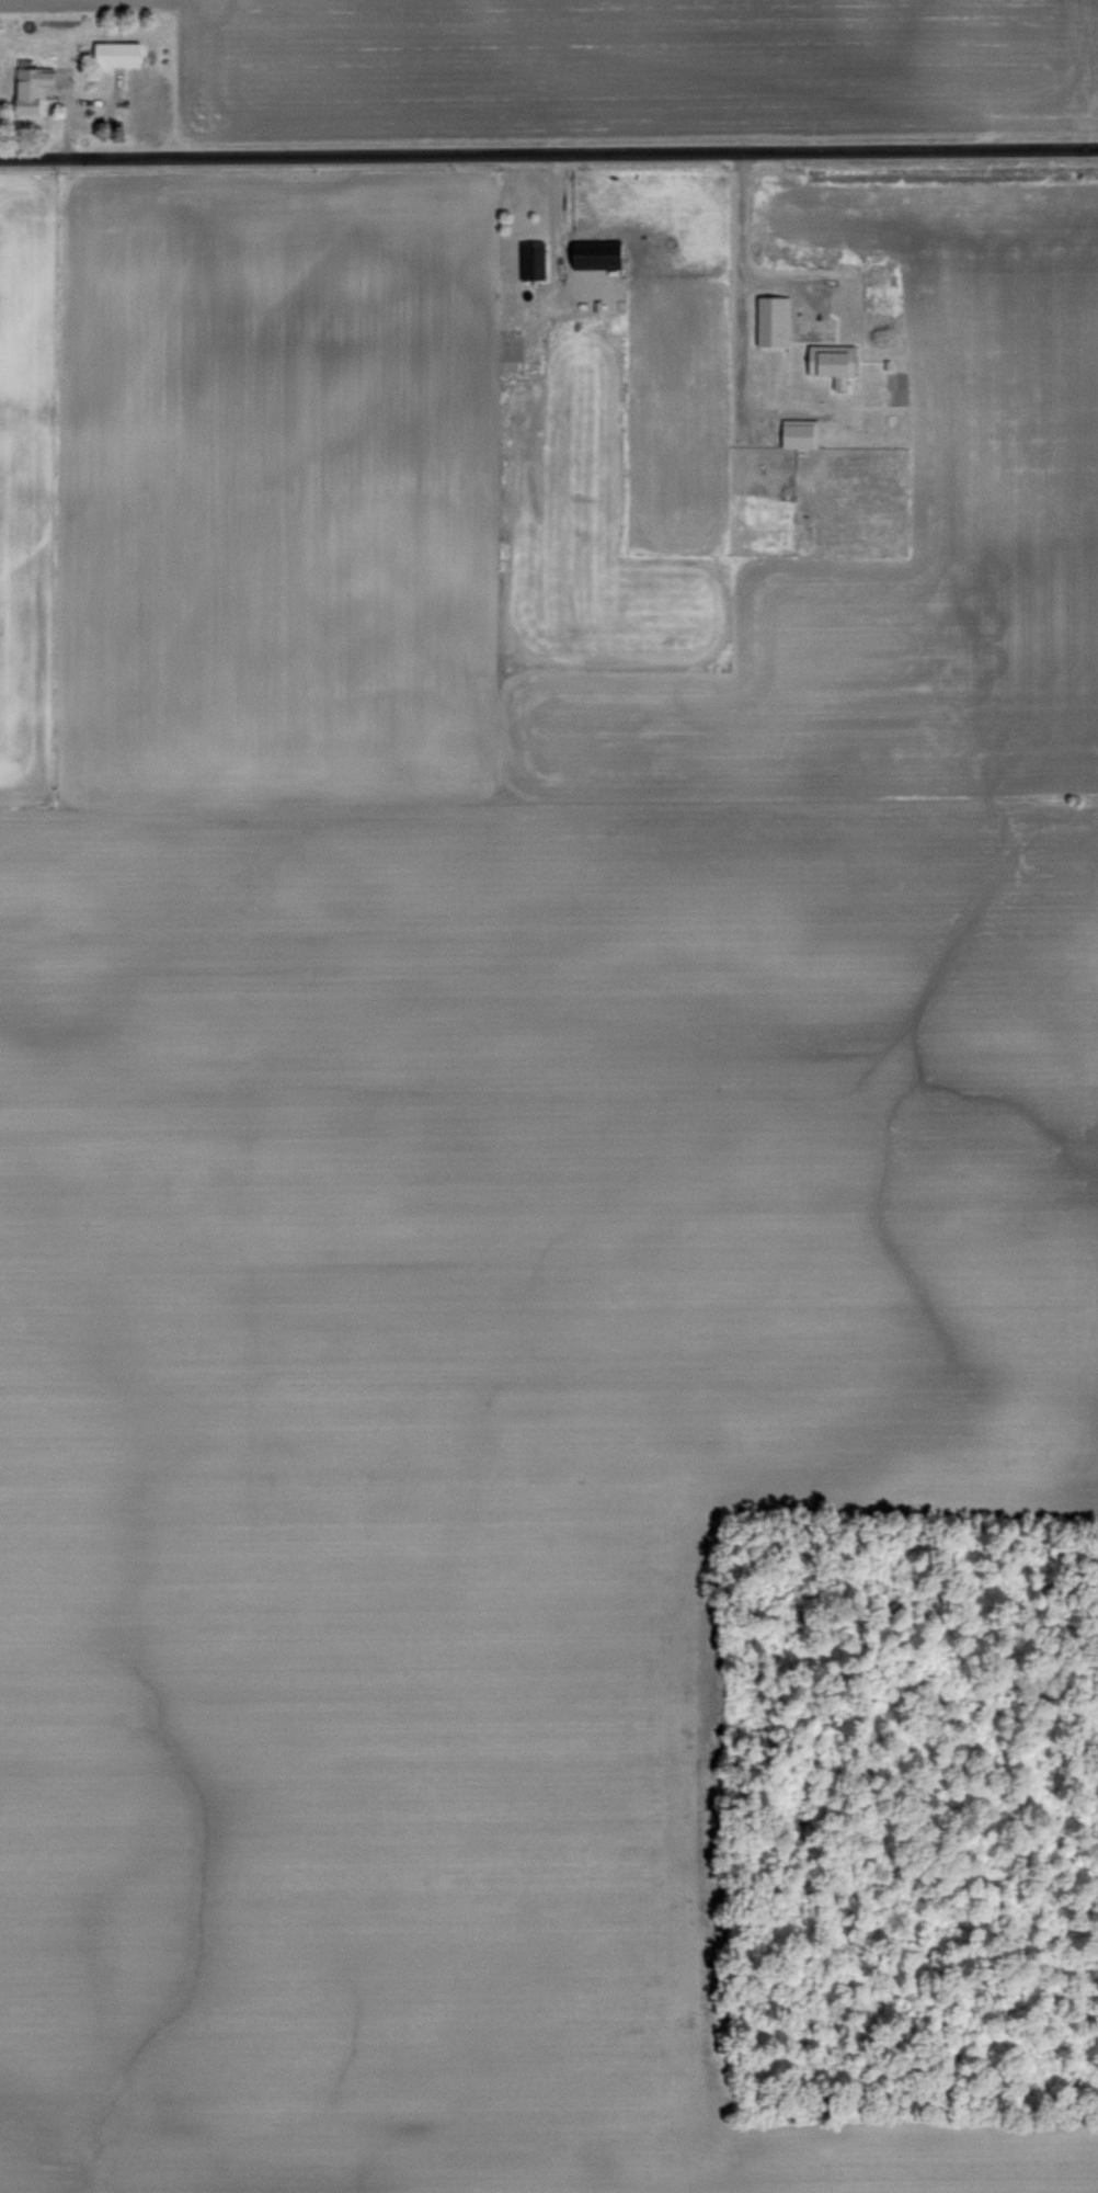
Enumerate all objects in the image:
building: (111, 54)
road: (548, 150)
building: (591, 254)
building: (527, 260)
road: (736, 289)
building: (767, 321)
building: (828, 364)
building: (793, 431)

